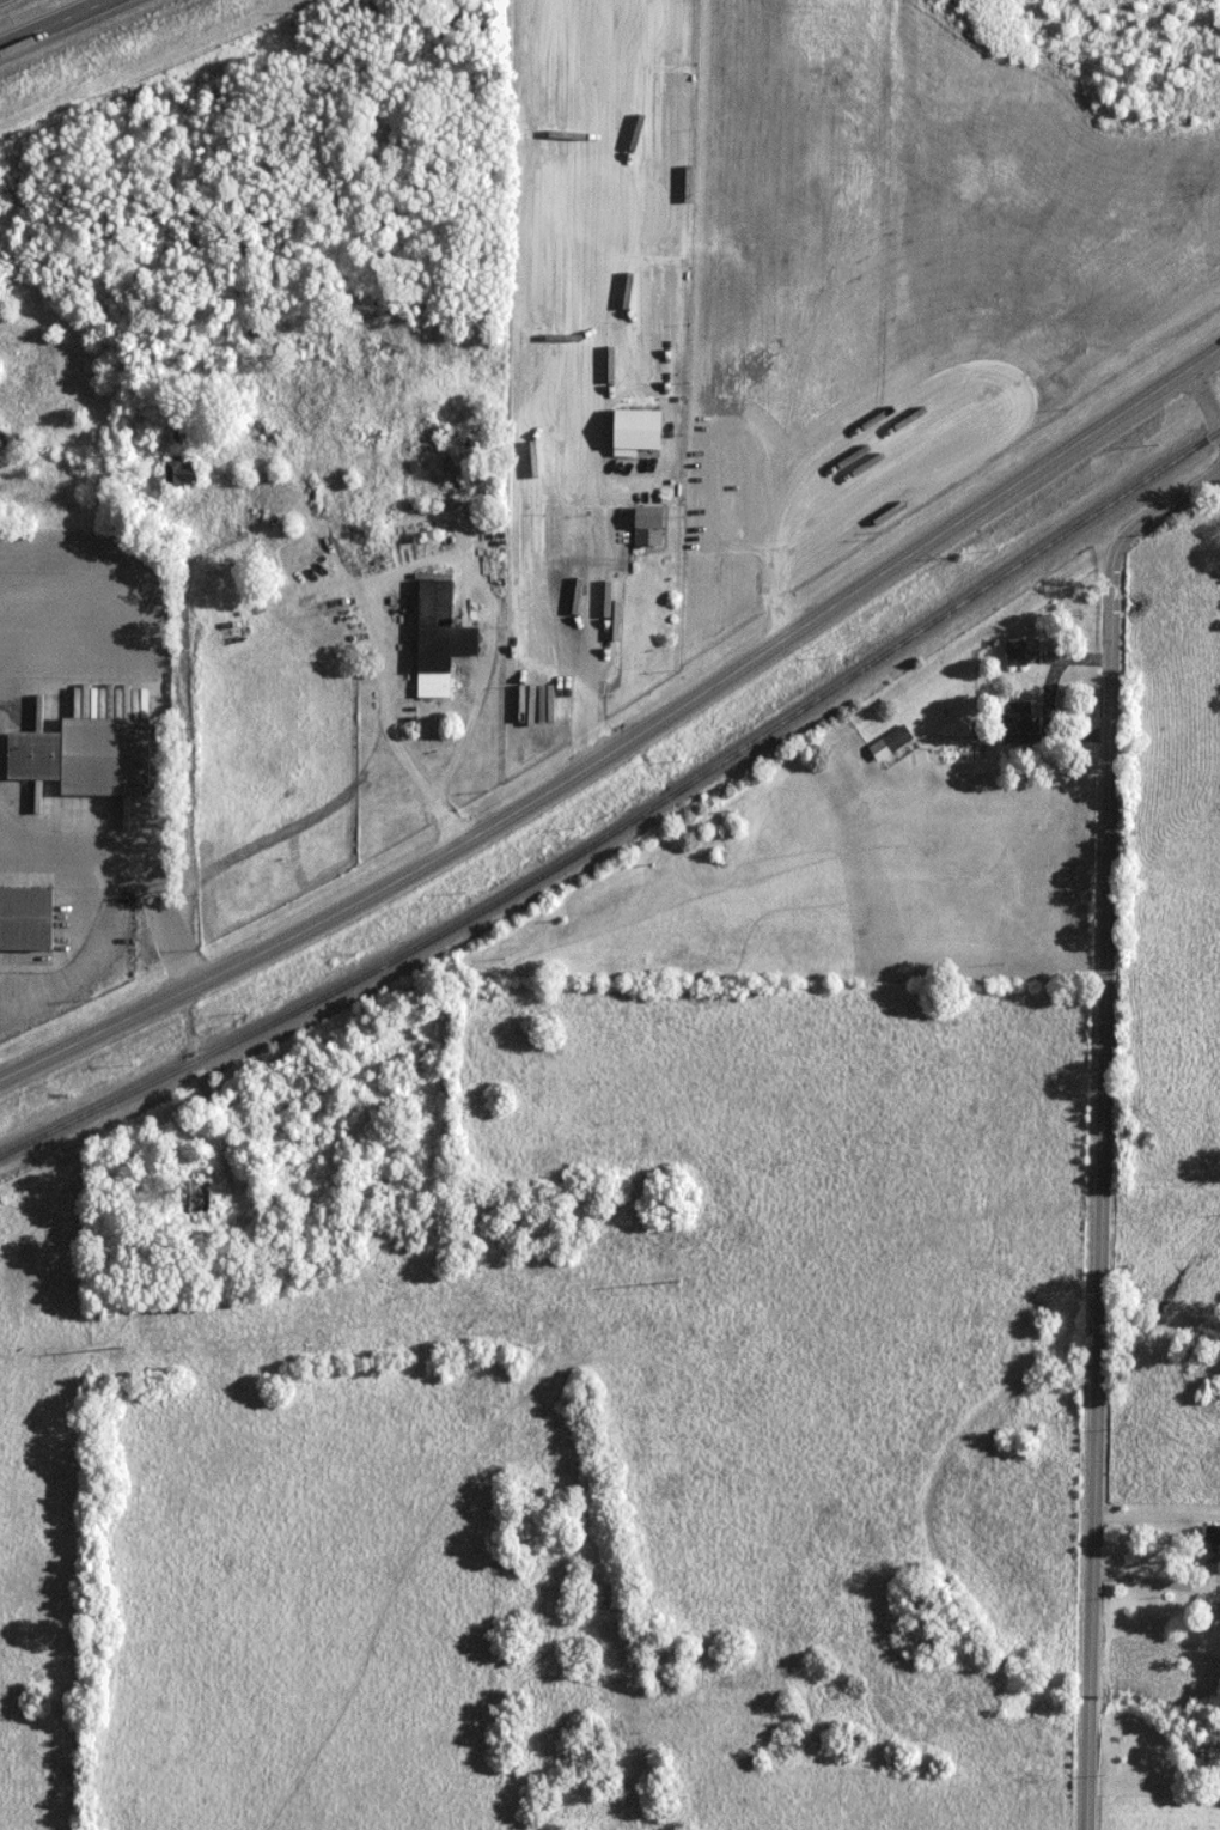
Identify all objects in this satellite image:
road: (10, 4)
road: (69, 30)
road: (1204, 395)
building: (636, 434)
building: (181, 475)
road: (1160, 511)
building: (649, 528)
road: (409, 567)
road: (587, 598)
road: (73, 602)
building: (440, 638)
building: (1018, 653)
building: (1020, 723)
road: (626, 743)
building: (891, 743)
building: (86, 756)
railway: (626, 822)
road: (140, 855)
building: (25, 919)
road: (93, 959)
road: (1100, 1196)
building: (200, 1198)
building: (1213, 1550)

